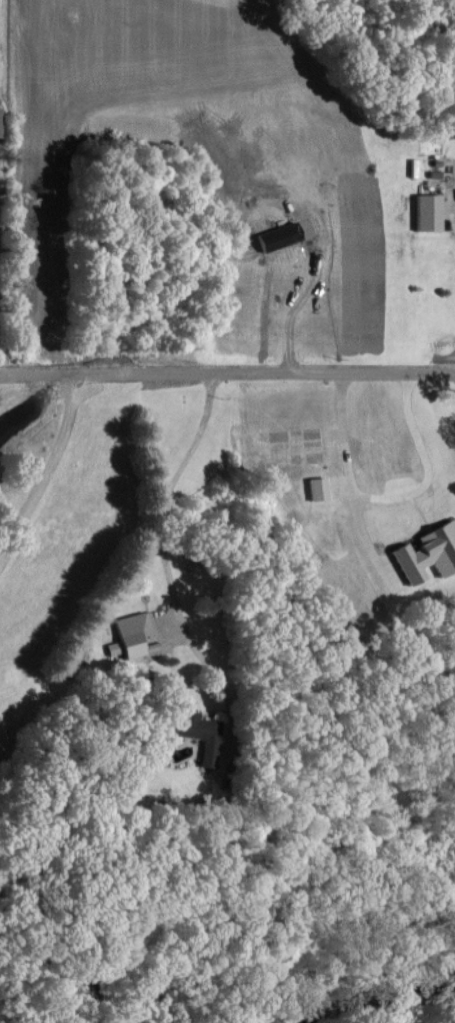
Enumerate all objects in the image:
park: (3, 36)
building: (424, 212)
road: (227, 368)
building: (314, 488)
road: (387, 496)
road: (162, 549)
building: (426, 552)
building: (130, 631)
building: (196, 733)

